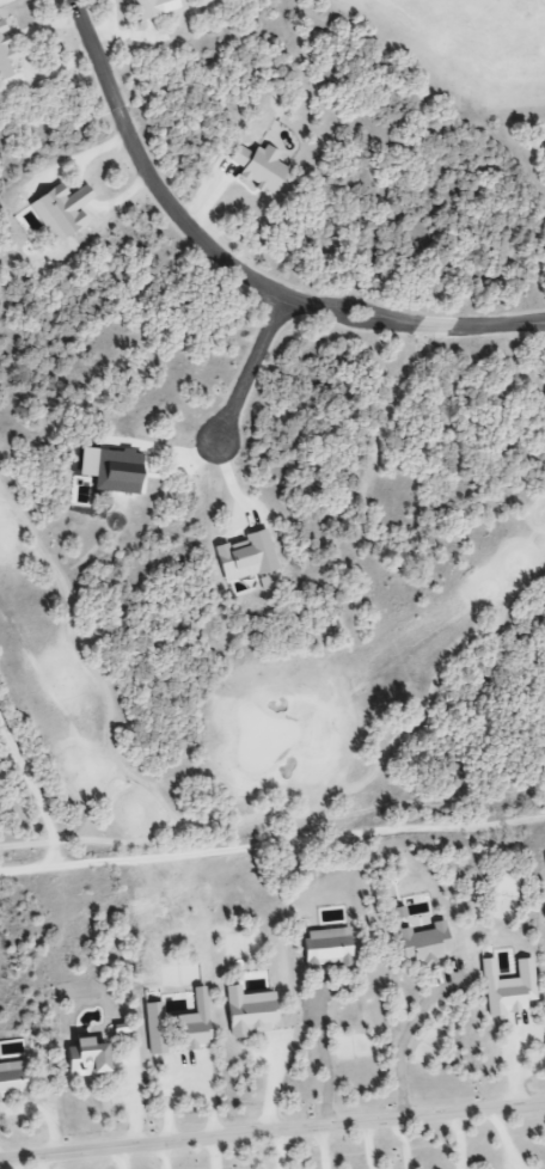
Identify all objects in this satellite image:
building: (143, 8)
road: (237, 268)
road: (247, 372)
park: (271, 411)
road: (82, 659)
road: (392, 745)
road: (91, 838)
building: (324, 950)
building: (82, 1059)
building: (14, 1083)
road: (271, 1132)

